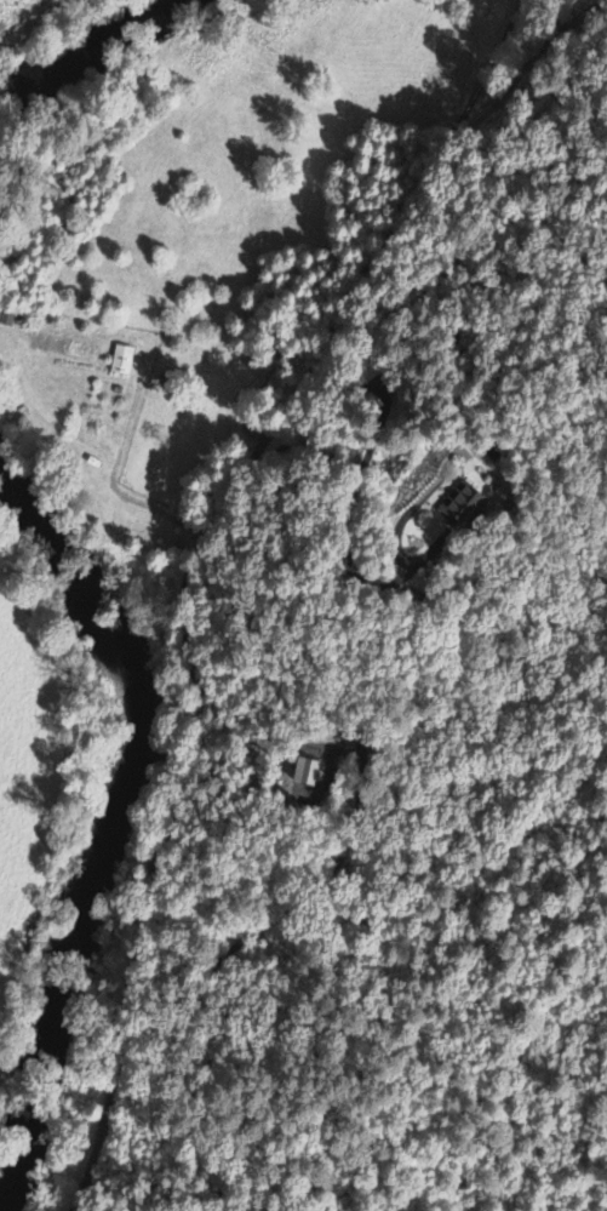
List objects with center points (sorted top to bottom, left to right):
river: (98, 69)
building: (119, 361)
building: (305, 773)
river: (134, 824)

